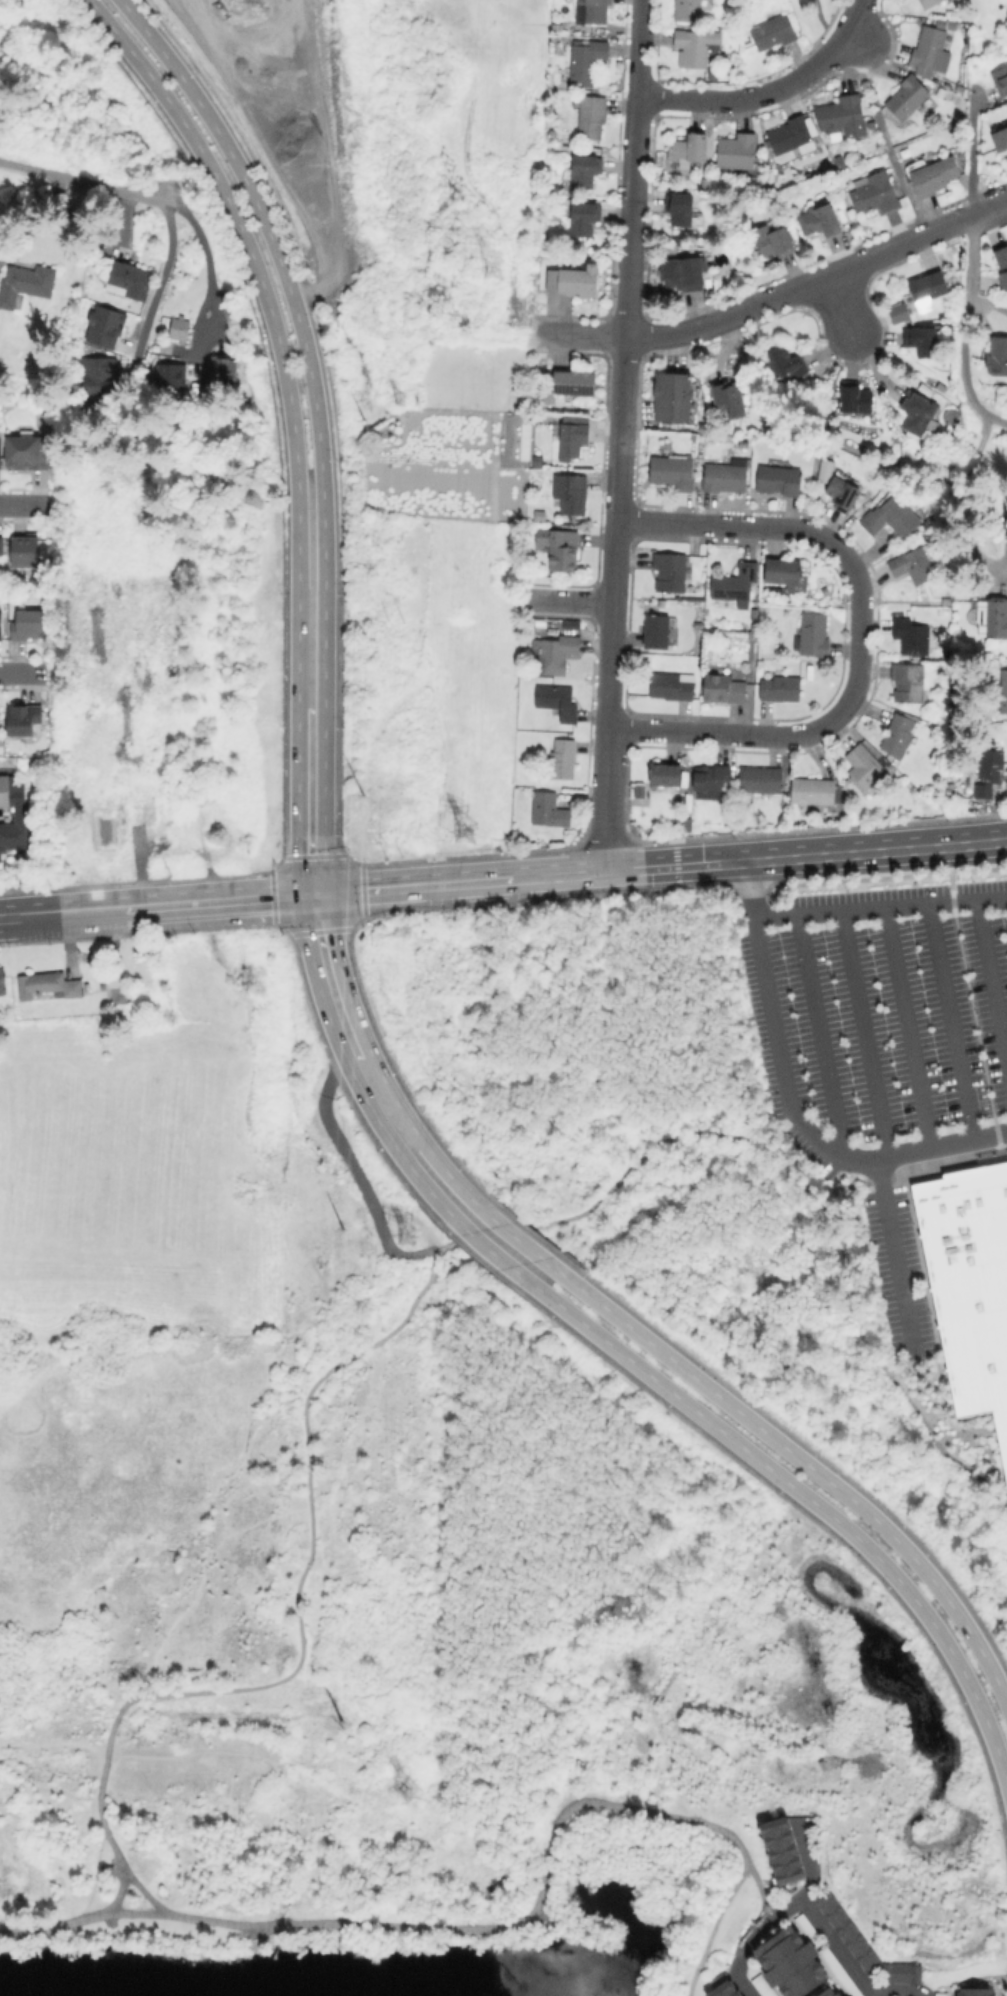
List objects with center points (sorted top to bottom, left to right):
building: (930, 5)
building: (593, 12)
building: (687, 12)
park: (812, 17)
building: (944, 22)
road: (824, 24)
building: (555, 25)
building: (775, 33)
building: (695, 49)
building: (932, 52)
building: (587, 62)
building: (999, 79)
road: (773, 94)
building: (907, 96)
building: (839, 116)
building: (591, 117)
building: (792, 136)
road: (885, 137)
building: (999, 138)
building: (689, 151)
building: (737, 152)
road: (969, 153)
building: (839, 161)
building: (585, 173)
road: (180, 174)
building: (932, 174)
road: (82, 181)
building: (704, 182)
building: (873, 191)
road: (990, 207)
building: (680, 210)
building: (584, 219)
building: (821, 219)
road: (38, 221)
building: (770, 240)
road: (204, 245)
building: (999, 253)
power tower: (496, 266)
building: (685, 274)
building: (129, 278)
building: (574, 281)
building: (27, 282)
building: (988, 289)
road: (156, 294)
road: (772, 296)
building: (919, 297)
road: (838, 301)
building: (106, 326)
road: (274, 327)
building: (180, 329)
road: (965, 329)
building: (919, 337)
building: (996, 355)
building: (782, 364)
building: (218, 370)
building: (166, 372)
building: (98, 378)
building: (574, 382)
building: (671, 395)
building: (726, 396)
building: (855, 398)
power tower: (364, 399)
power tower: (402, 399)
building: (917, 411)
building: (570, 436)
road: (620, 437)
building: (28, 453)
building: (673, 471)
building: (726, 478)
building: (780, 480)
building: (842, 490)
building: (571, 494)
road: (963, 494)
road: (26, 504)
building: (889, 515)
building: (1, 546)
building: (558, 547)
building: (26, 551)
building: (911, 565)
building: (671, 573)
building: (787, 575)
building: (736, 583)
road: (566, 604)
building: (991, 617)
building: (0, 626)
building: (31, 626)
building: (658, 632)
road: (859, 634)
building: (815, 635)
building: (909, 635)
building: (556, 653)
road: (26, 671)
building: (906, 682)
building: (671, 687)
building: (781, 688)
building: (723, 689)
building: (1002, 692)
building: (556, 701)
building: (24, 719)
building: (0, 721)
building: (899, 736)
building: (564, 759)
building: (862, 764)
building: (988, 773)
building: (666, 775)
building: (710, 777)
building: (761, 780)
building: (813, 792)
building: (641, 793)
road: (298, 802)
building: (142, 810)
building: (549, 811)
building: (14, 814)
power tower: (363, 818)
building: (221, 823)
building: (684, 823)
building: (105, 825)
power tower: (470, 832)
road: (667, 868)
traffic signals: (328, 895)
traffic signals: (302, 897)
road: (163, 906)
road: (879, 907)
road: (339, 965)
building: (4, 981)
road: (989, 984)
building: (47, 986)
road: (970, 990)
road: (948, 1021)
road: (905, 1027)
road: (861, 1033)
road: (816, 1035)
parking lot: (883, 1044)
road: (790, 1103)
road: (683, 1134)
park: (668, 1170)
road: (355, 1176)
power tower: (339, 1227)
power tower: (406, 1238)
road: (443, 1249)
road: (890, 1257)
road: (848, 1260)
building: (970, 1286)
road: (626, 1357)
road: (933, 1439)
road: (296, 1606)
park: (464, 1671)
power tower: (340, 1720)
power tower: (409, 1785)
building: (783, 1852)
road: (760, 1890)
road: (119, 1894)
road: (136, 1911)
road: (51, 1927)
road: (711, 1928)
building: (809, 1928)
road: (478, 1929)
road: (826, 1933)
building: (864, 1944)
road: (742, 1951)
building: (792, 1962)
building: (841, 1972)
building: (763, 1986)
building: (725, 1989)
road: (903, 1989)
building: (831, 1992)
building: (977, 1992)
building: (942, 1995)

